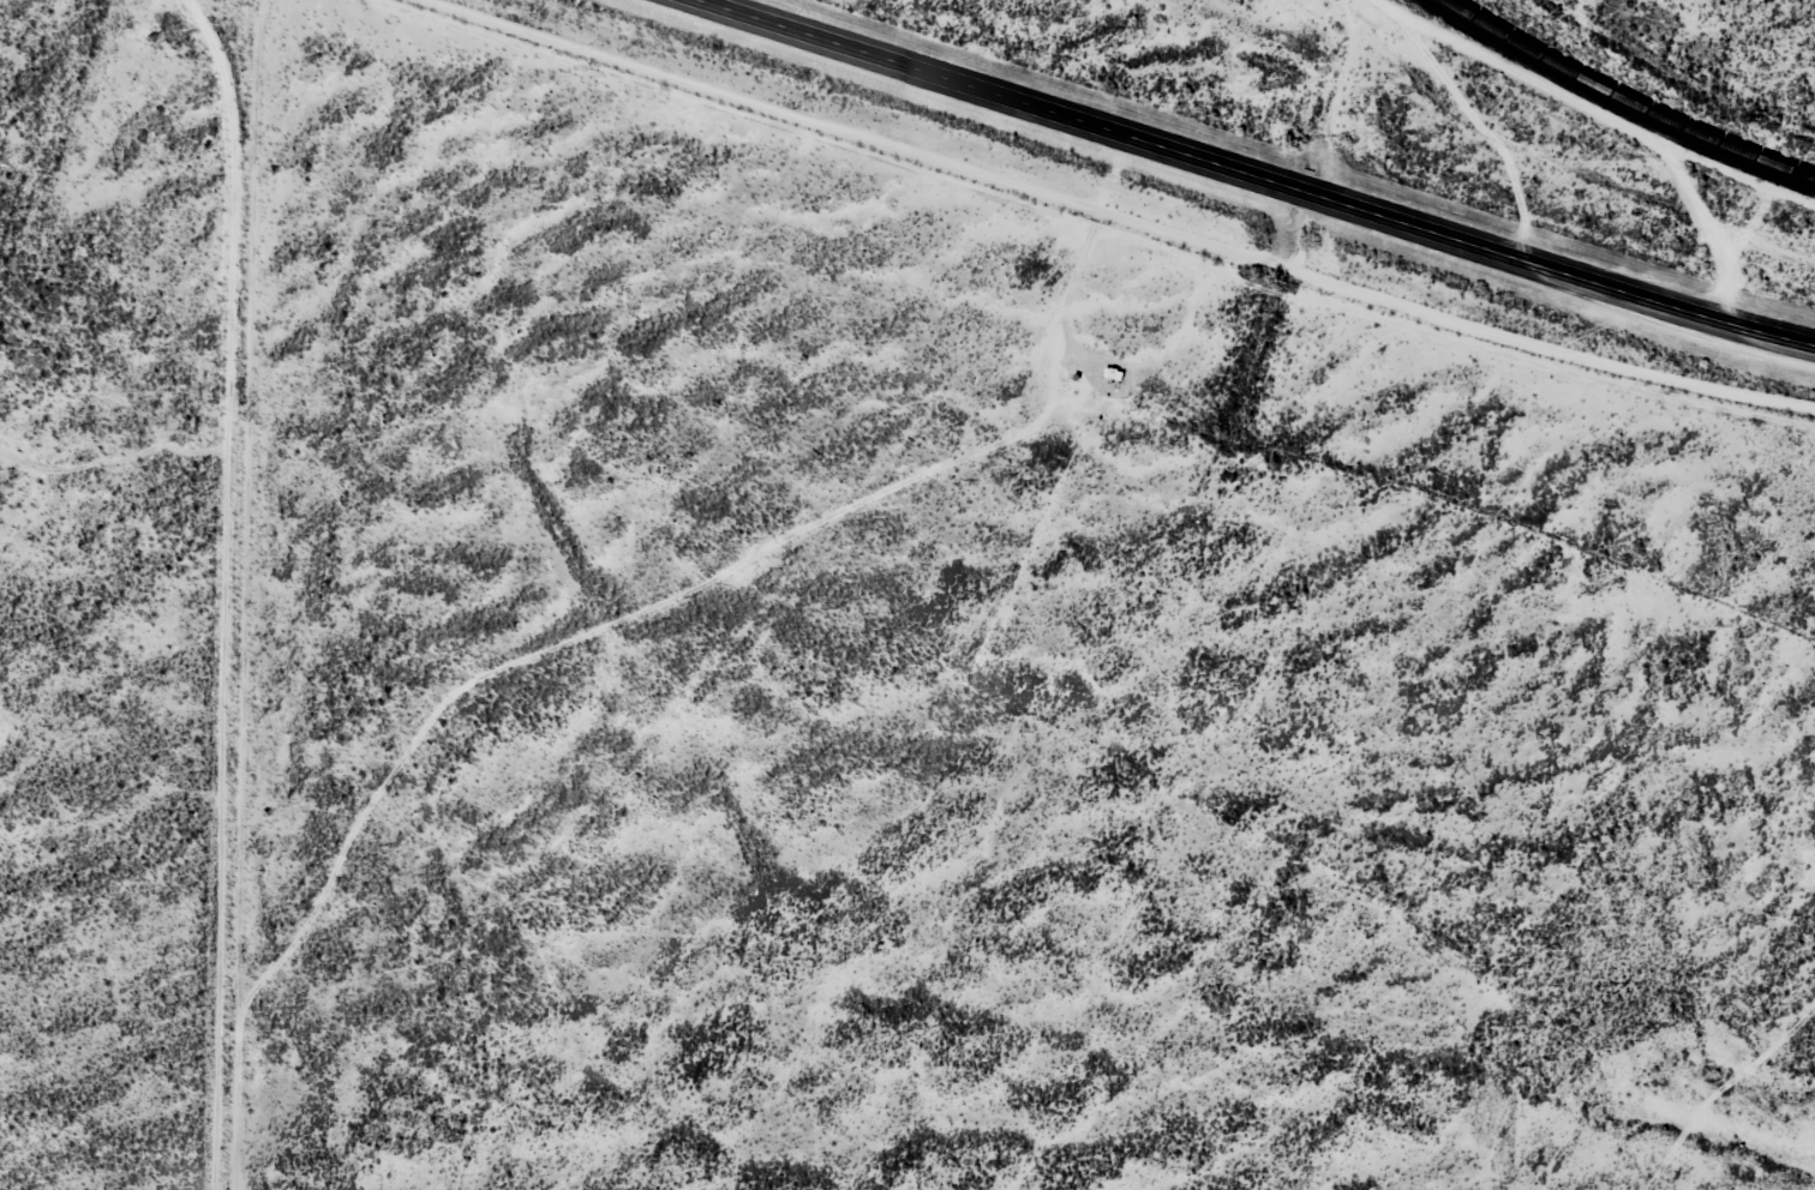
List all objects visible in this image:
railway: (1627, 98)
railway: (1616, 103)
road: (1260, 178)
road: (204, 575)

